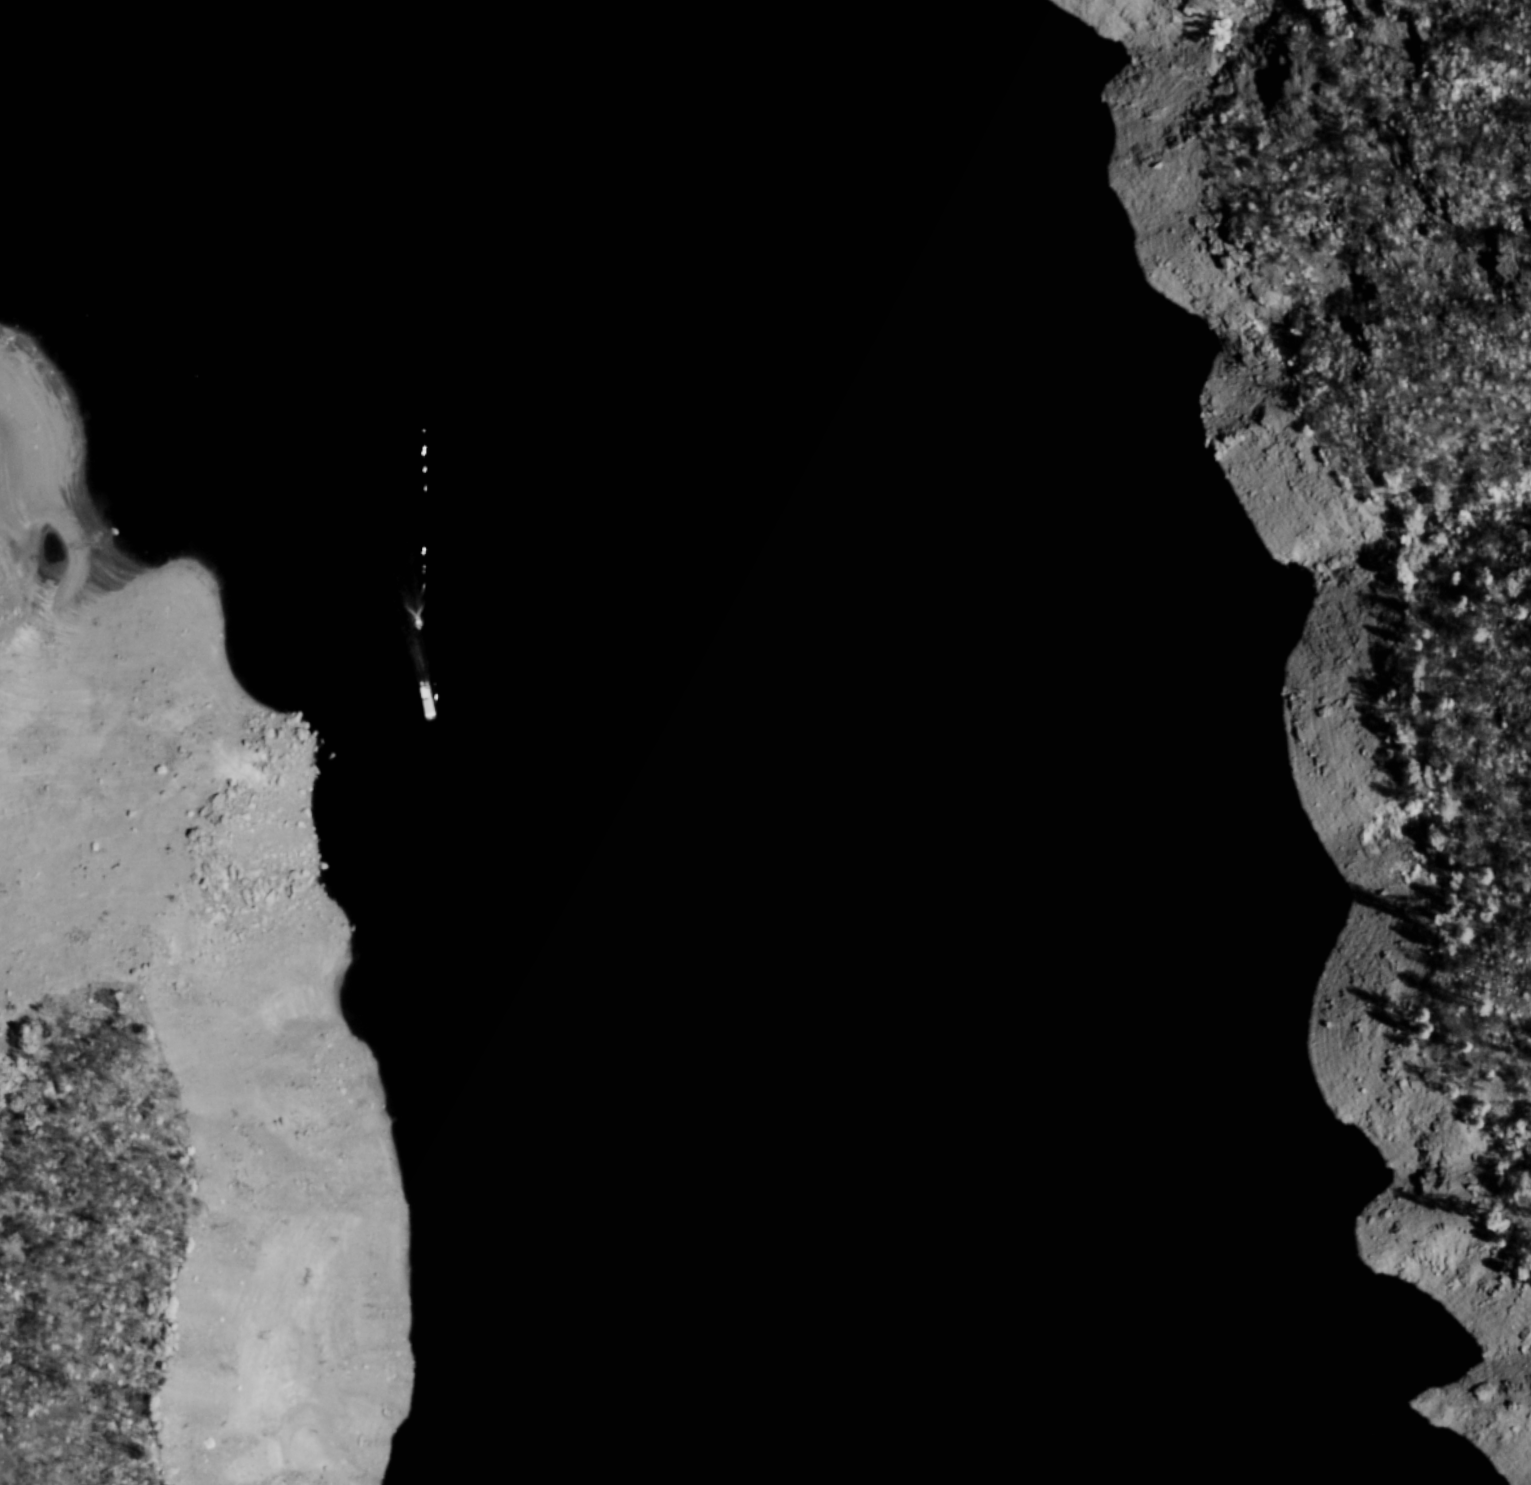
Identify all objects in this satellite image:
river: (463, 223)
river: (634, 965)

